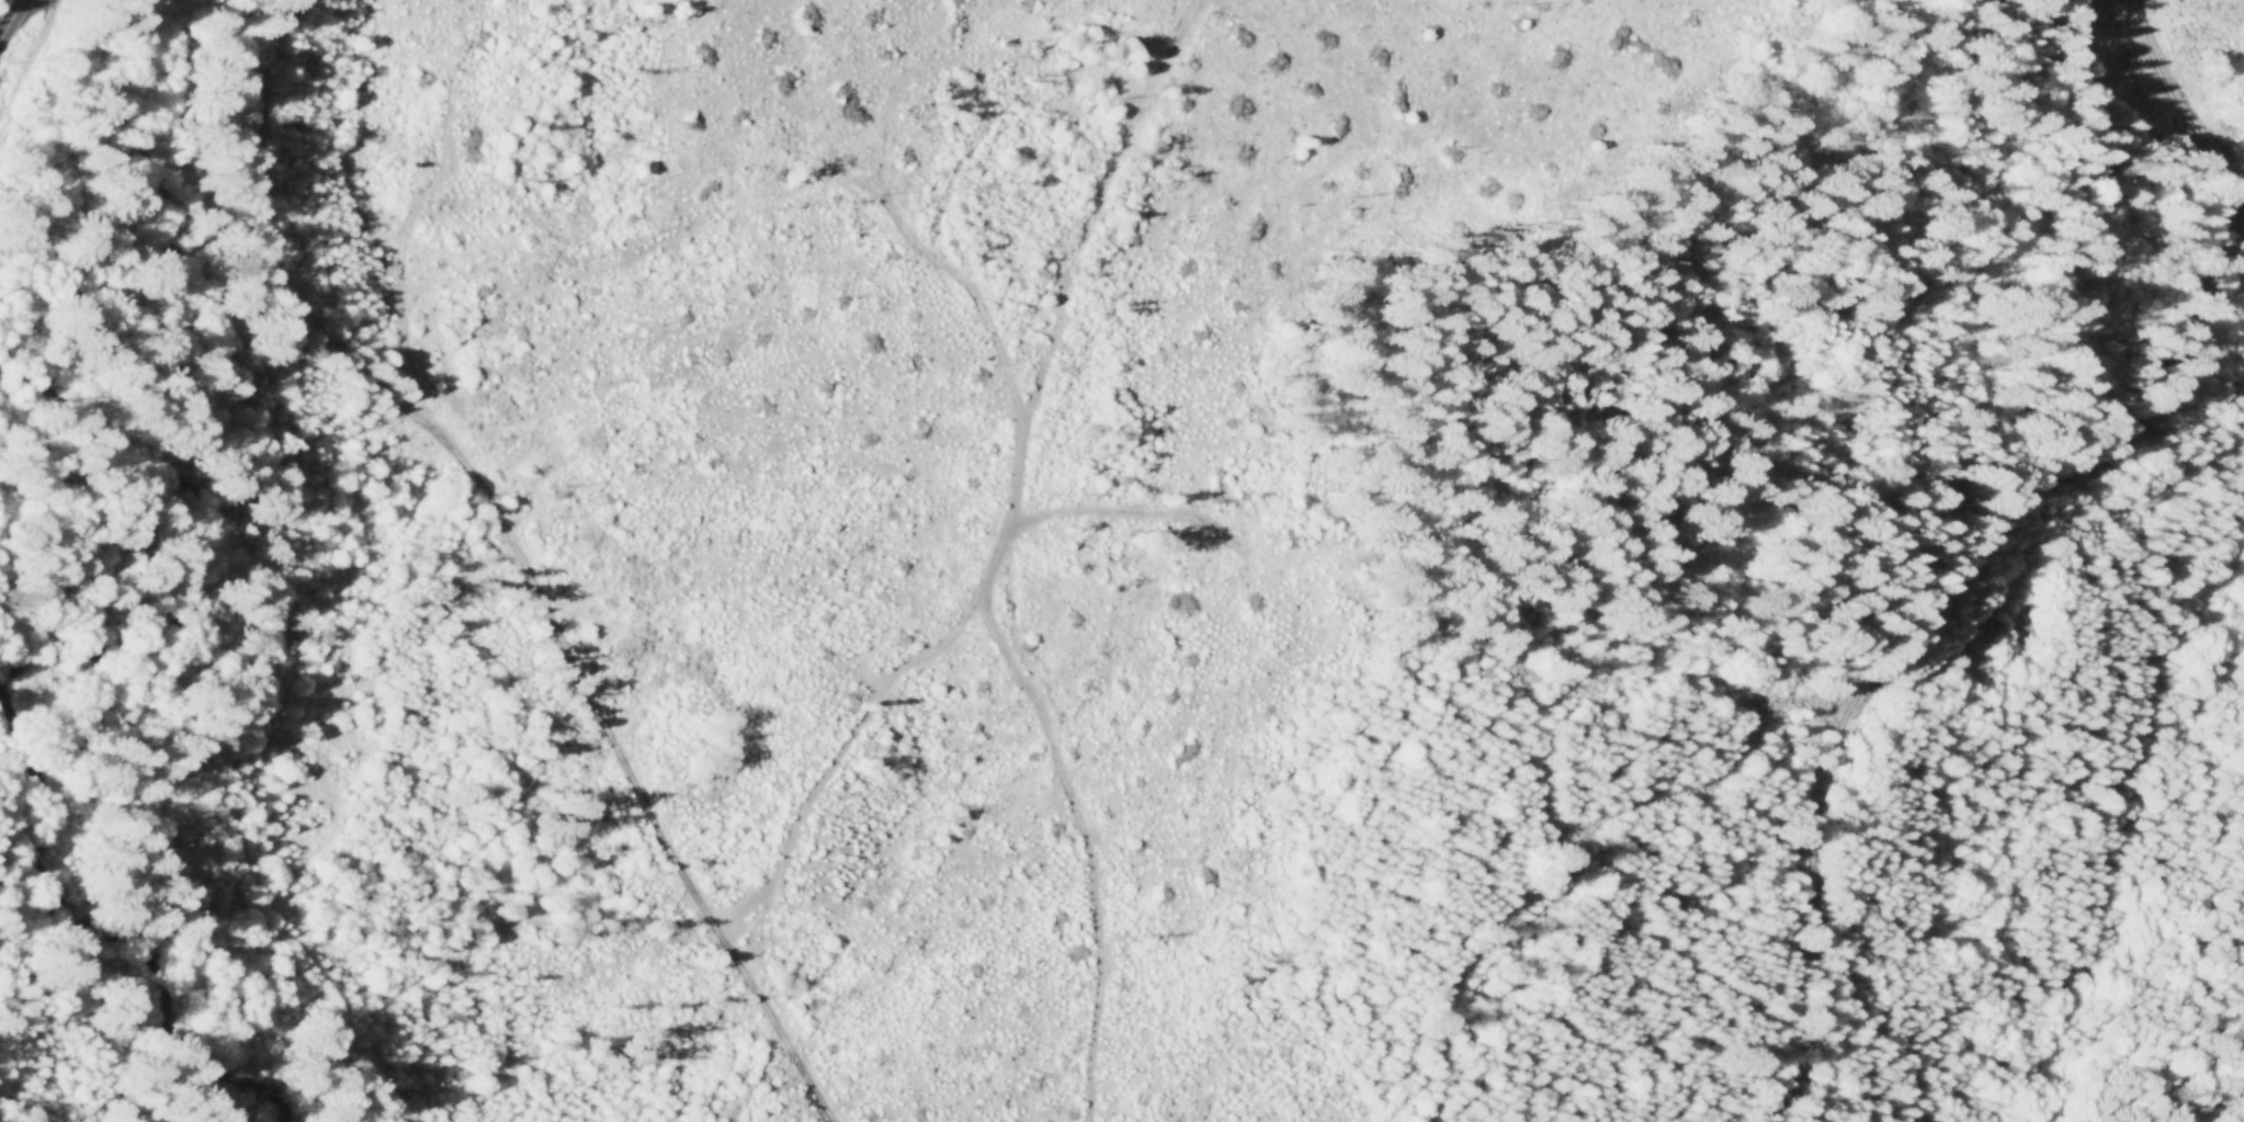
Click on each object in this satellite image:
road: (12, 21)
road: (26, 65)
road: (2191, 118)
road: (2236, 233)
road: (513, 554)
road: (1902, 633)
road: (1599, 819)
road: (1471, 948)
road: (1095, 977)

